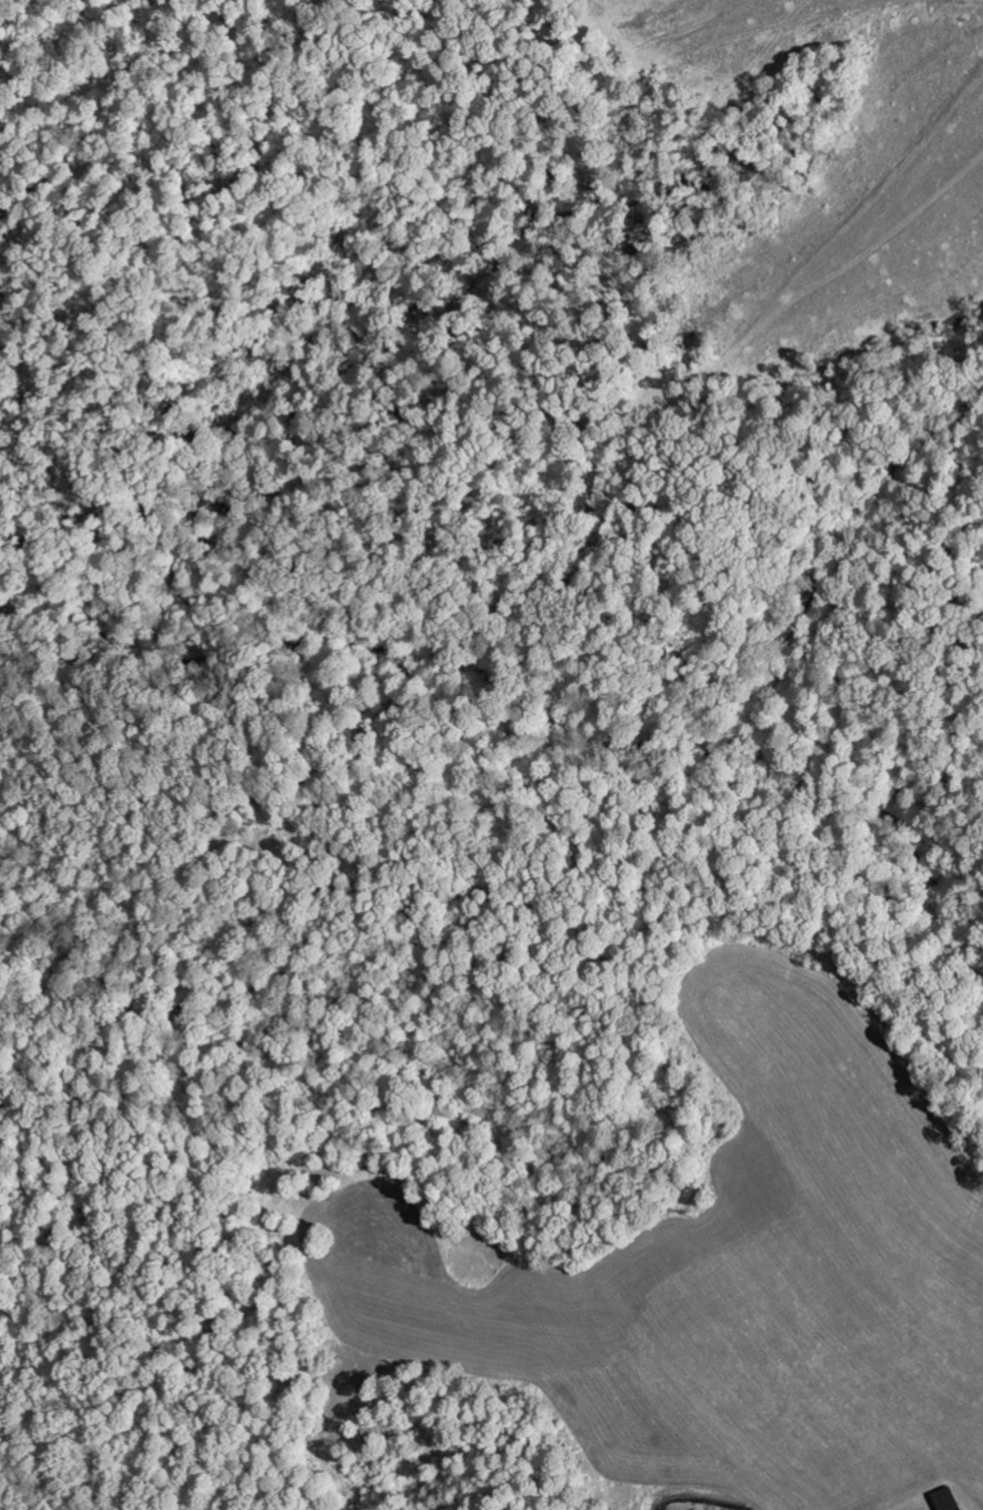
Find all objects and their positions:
building: (942, 1499)

